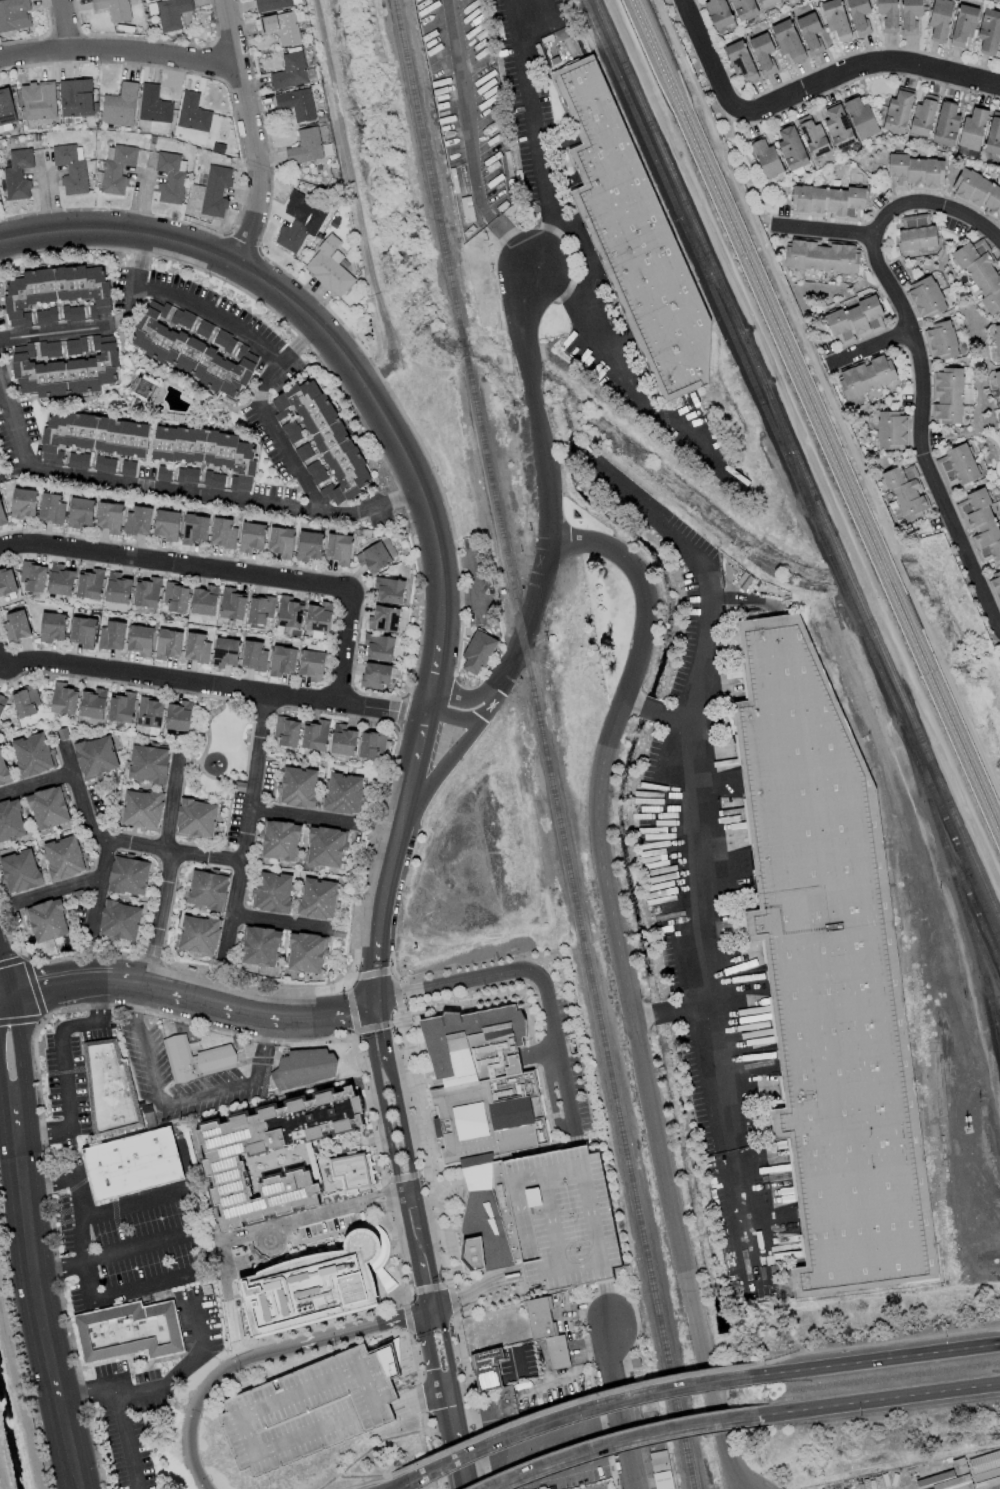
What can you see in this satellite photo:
building: (786, 0)
building: (767, 3)
building: (271, 5)
building: (113, 9)
building: (743, 9)
building: (169, 13)
building: (718, 13)
building: (887, 14)
building: (14, 15)
building: (910, 15)
building: (859, 16)
building: (835, 19)
building: (939, 20)
road: (63, 25)
building: (963, 25)
building: (281, 27)
building: (810, 32)
building: (989, 32)
building: (787, 41)
road: (119, 52)
building: (763, 52)
building: (999, 56)
building: (740, 60)
building: (290, 71)
road: (808, 88)
building: (75, 98)
building: (38, 100)
building: (297, 104)
building: (153, 105)
building: (119, 106)
building: (6, 107)
building: (897, 112)
building: (192, 113)
building: (860, 118)
building: (922, 118)
building: (946, 124)
building: (838, 126)
building: (972, 129)
road: (250, 133)
road: (538, 136)
building: (813, 136)
building: (993, 136)
building: (305, 147)
building: (791, 149)
building: (766, 159)
railway: (428, 168)
building: (70, 169)
building: (914, 173)
building: (17, 175)
building: (171, 178)
building: (215, 191)
building: (978, 194)
building: (828, 202)
road: (934, 204)
building: (299, 223)
road: (822, 229)
building: (916, 233)
building: (632, 235)
building: (820, 256)
building: (328, 267)
building: (980, 273)
building: (56, 291)
building: (925, 297)
road: (188, 302)
building: (72, 313)
building: (46, 316)
building: (856, 321)
road: (319, 325)
road: (522, 328)
building: (203, 329)
road: (54, 333)
building: (224, 341)
building: (940, 341)
building: (997, 343)
building: (75, 346)
railway: (464, 347)
road: (870, 348)
building: (49, 349)
building: (189, 349)
road: (610, 353)
railway: (740, 360)
road: (322, 363)
building: (65, 371)
building: (865, 376)
building: (997, 381)
building: (143, 388)
building: (947, 396)
road: (533, 397)
railway: (818, 412)
road: (263, 414)
railway: (813, 422)
building: (891, 430)
building: (292, 431)
building: (91, 435)
road: (918, 435)
building: (326, 438)
railway: (784, 444)
building: (207, 452)
building: (303, 452)
building: (78, 461)
railway: (796, 461)
building: (104, 464)
building: (957, 466)
building: (127, 468)
building: (1, 471)
building: (316, 472)
road: (545, 473)
building: (163, 474)
building: (187, 475)
building: (213, 480)
road: (178, 491)
building: (906, 492)
building: (23, 503)
building: (51, 508)
building: (80, 512)
building: (2, 517)
building: (109, 517)
building: (138, 520)
building: (981, 524)
building: (166, 525)
building: (194, 530)
building: (222, 532)
building: (251, 537)
building: (281, 542)
building: (308, 546)
building: (338, 548)
building: (376, 555)
road: (230, 569)
building: (32, 578)
building: (60, 580)
building: (7, 582)
building: (89, 584)
building: (995, 587)
building: (117, 589)
building: (389, 590)
building: (146, 592)
building: (176, 598)
building: (204, 601)
building: (232, 605)
road: (704, 608)
building: (260, 610)
building: (289, 613)
building: (318, 617)
building: (383, 619)
building: (15, 626)
road: (526, 626)
building: (52, 627)
building: (83, 632)
building: (112, 635)
building: (140, 640)
building: (168, 644)
building: (378, 647)
building: (196, 648)
building: (225, 653)
building: (477, 653)
building: (253, 656)
building: (282, 661)
building: (311, 665)
building: (375, 676)
road: (434, 676)
road: (213, 685)
road: (458, 698)
building: (63, 699)
building: (26, 701)
building: (2, 703)
building: (92, 704)
building: (121, 707)
building: (149, 712)
road: (399, 712)
building: (178, 716)
road: (459, 718)
road: (206, 729)
building: (286, 732)
building: (314, 734)
building: (342, 740)
road: (421, 740)
park: (221, 742)
building: (371, 744)
building: (32, 755)
building: (95, 757)
road: (447, 763)
building: (148, 764)
building: (3, 771)
road: (223, 780)
building: (298, 787)
road: (39, 788)
road: (82, 791)
road: (410, 793)
building: (342, 794)
building: (48, 808)
road: (305, 818)
building: (195, 819)
building: (11, 821)
road: (247, 829)
railway: (950, 832)
building: (279, 841)
building: (325, 847)
road: (169, 849)
railway: (567, 853)
road: (366, 857)
railway: (945, 857)
building: (63, 858)
road: (690, 866)
road: (391, 867)
road: (166, 868)
building: (20, 871)
building: (128, 876)
railway: (962, 884)
road: (97, 887)
building: (207, 890)
building: (272, 892)
road: (61, 893)
building: (317, 899)
building: (47, 921)
building: (119, 921)
road: (281, 921)
building: (198, 936)
building: (259, 946)
building: (305, 953)
railway: (975, 954)
road: (465, 957)
road: (375, 959)
road: (389, 970)
road: (6, 973)
road: (371, 973)
building: (830, 974)
road: (353, 977)
road: (395, 978)
road: (455, 982)
road: (626, 985)
road: (345, 986)
road: (395, 993)
road: (6, 994)
road: (194, 999)
road: (351, 1009)
railway: (991, 1013)
road: (398, 1015)
road: (394, 1023)
road: (372, 1027)
road: (384, 1031)
road: (367, 1033)
road: (353, 1034)
road: (558, 1058)
building: (194, 1059)
road: (21, 1063)
road: (63, 1066)
building: (310, 1068)
building: (108, 1087)
road: (552, 1099)
road: (182, 1101)
road: (9, 1111)
building: (483, 1120)
road: (725, 1121)
road: (404, 1126)
road: (386, 1130)
building: (222, 1157)
building: (139, 1162)
road: (380, 1170)
building: (351, 1172)
road: (408, 1194)
flagpole: (459, 1196)
flagpole: (458, 1199)
flagpole: (456, 1202)
road: (134, 1205)
road: (420, 1210)
road: (330, 1213)
road: (588, 1214)
road: (403, 1215)
building: (561, 1219)
parking lot: (561, 1219)
road: (225, 1242)
road: (427, 1246)
road: (410, 1250)
road: (116, 1252)
road: (560, 1267)
road: (82, 1273)
building: (315, 1286)
road: (435, 1286)
road: (471, 1291)
road: (418, 1292)
road: (606, 1304)
road: (38, 1312)
road: (407, 1321)
building: (128, 1331)
building: (546, 1332)
road: (344, 1334)
road: (873, 1344)
road: (447, 1346)
road: (428, 1352)
road: (874, 1360)
road: (187, 1365)
building: (486, 1369)
road: (468, 1384)
road: (87, 1393)
building: (511, 1397)
road: (879, 1400)
road: (196, 1402)
road: (565, 1406)
road: (616, 1407)
building: (309, 1409)
parking lot: (309, 1409)
road: (422, 1415)
road: (573, 1415)
railway: (678, 1420)
road: (455, 1434)
road: (126, 1437)
road: (539, 1440)
road: (380, 1441)
road: (623, 1441)
building: (658, 1461)
building: (984, 1462)
road: (365, 1476)
building: (662, 1480)
building: (950, 1480)
road: (402, 1486)
road: (466, 1487)

